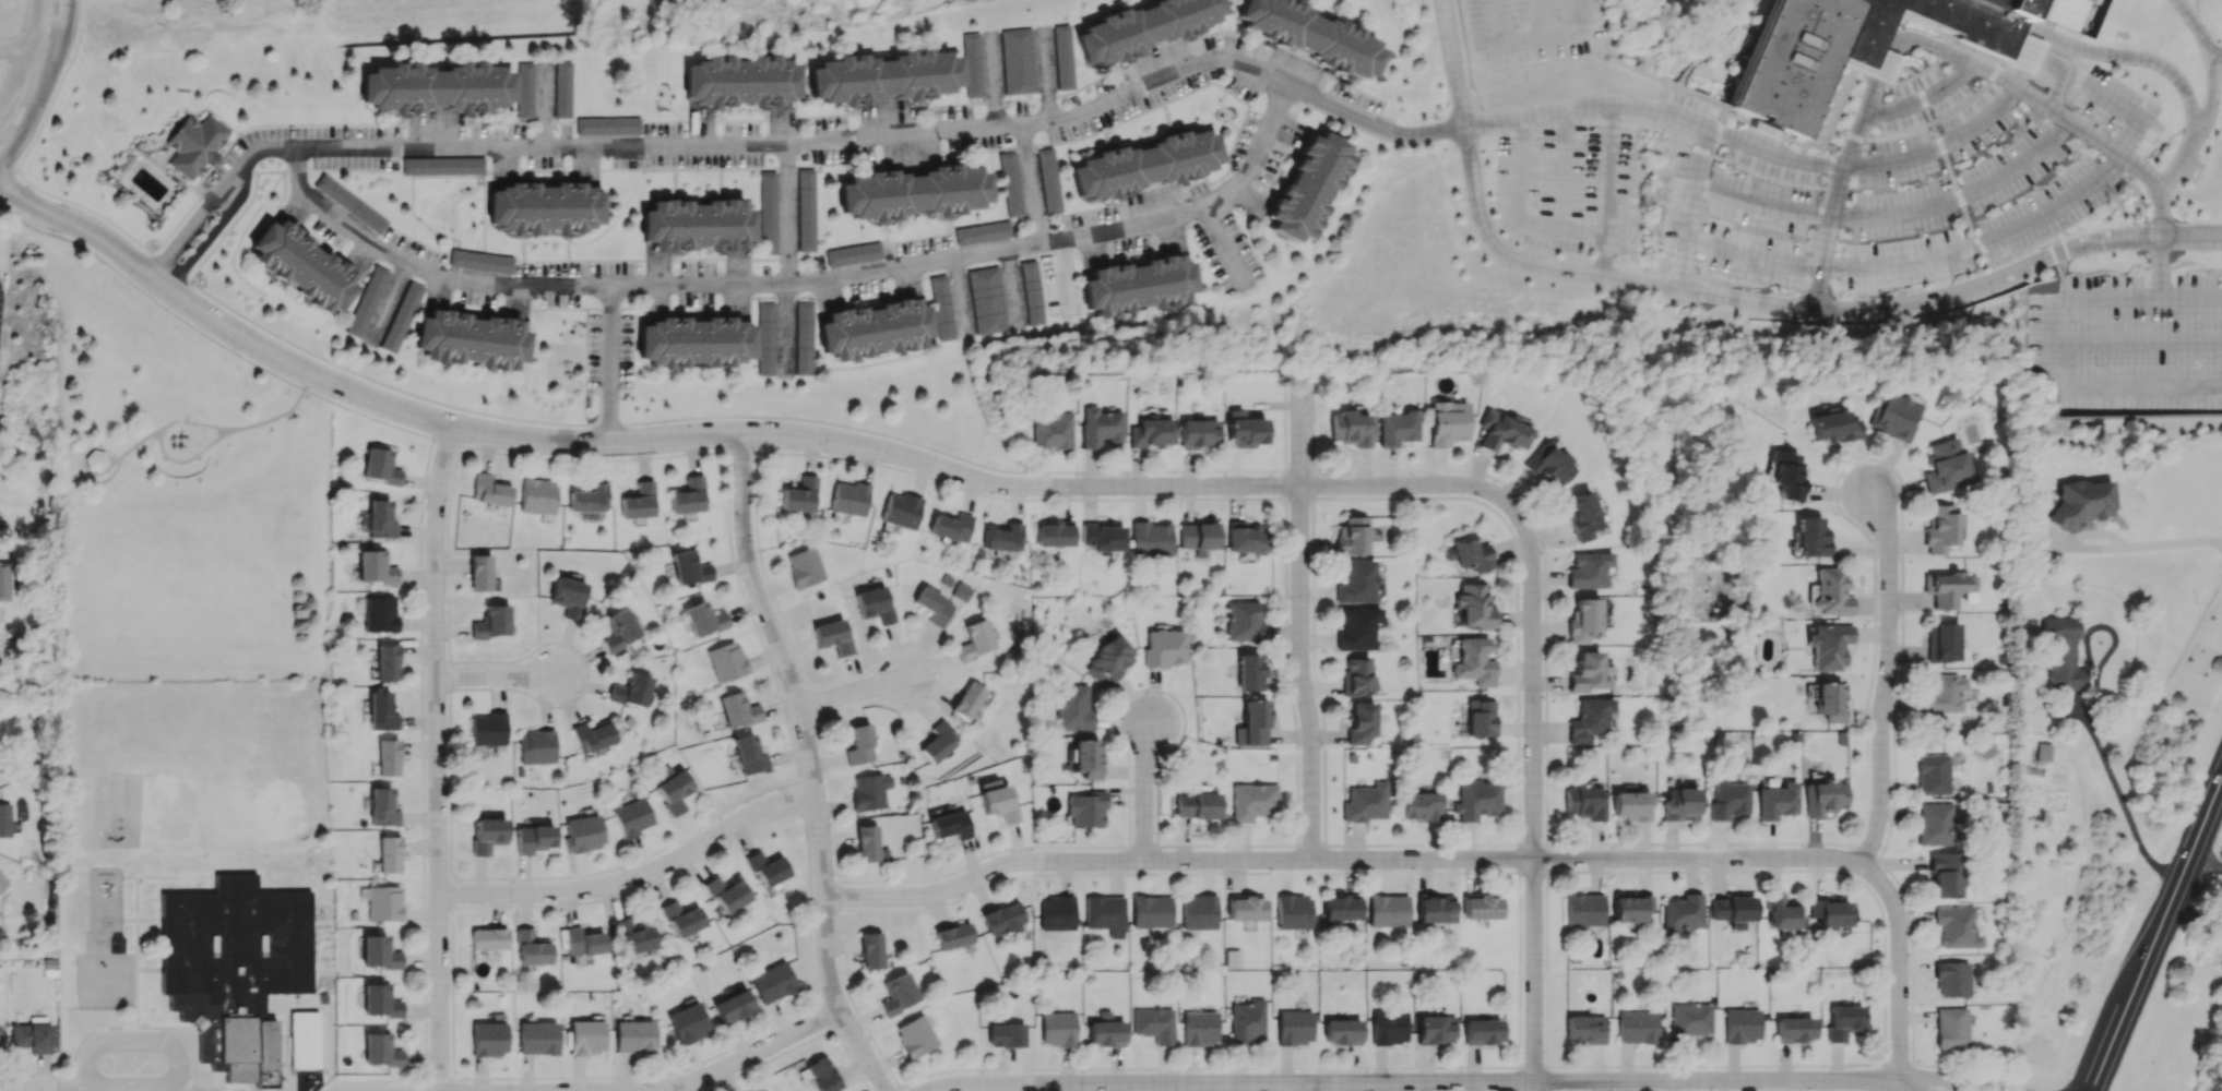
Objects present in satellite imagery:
road: (1747, 10)
helipad: (2060, 10)
road: (82, 11)
road: (2195, 11)
building: (2053, 13)
road: (2043, 15)
road: (1536, 19)
road: (2191, 22)
building: (1926, 25)
building: (1142, 28)
parking lot: (1530, 31)
road: (1576, 32)
building: (1311, 36)
road: (1719, 40)
road: (1748, 40)
road: (1892, 40)
road: (2033, 40)
road: (1496, 43)
building: (2019, 50)
road: (2212, 50)
road: (13, 56)
road: (2061, 56)
road: (27, 57)
building: (1058, 58)
road: (2140, 58)
road: (1617, 62)
building: (1789, 63)
building: (971, 64)
building: (1014, 65)
road: (1892, 65)
building: (1879, 67)
road: (2021, 69)
road: (1924, 72)
road: (2058, 72)
road: (1991, 73)
road: (1686, 74)
building: (882, 77)
road: (2071, 80)
building: (739, 82)
road: (1902, 83)
road: (43, 86)
building: (433, 86)
road: (1981, 88)
building: (559, 91)
building: (521, 92)
road: (2061, 93)
road: (2210, 94)
road: (51, 99)
road: (1922, 100)
road: (1921, 101)
road: (2110, 101)
parking lot: (2113, 104)
road: (1715, 106)
parking lot: (1936, 106)
road: (1584, 107)
parking lot: (1687, 108)
road: (1837, 108)
road: (1735, 119)
building: (606, 129)
road: (1661, 130)
building: (1759, 131)
road: (2119, 131)
road: (2090, 136)
road: (1759, 137)
road: (1879, 140)
road: (2131, 140)
road: (1853, 141)
building: (189, 144)
road: (801, 146)
road: (1801, 146)
road: (1938, 146)
road: (1771, 155)
road: (1830, 163)
building: (1144, 165)
parking lot: (1770, 165)
building: (441, 166)
road: (2175, 167)
road: (1561, 169)
road: (260, 170)
road: (1606, 170)
road: (7, 177)
road: (1764, 177)
building: (1046, 182)
road: (1031, 184)
building: (1008, 185)
building: (1308, 187)
road: (1514, 187)
parking lot: (1564, 188)
building: (913, 192)
road: (1701, 199)
road: (1960, 199)
parking lot: (1963, 201)
building: (348, 203)
road: (1759, 204)
building: (545, 207)
road: (1687, 207)
building: (804, 211)
building: (765, 214)
road: (450, 215)
road: (2159, 215)
parking lot: (1739, 224)
building: (696, 225)
road: (247, 226)
road: (1816, 227)
road: (1969, 229)
building: (982, 232)
road: (1580, 232)
road: (1826, 237)
road: (577, 243)
road: (1983, 245)
building: (853, 253)
road: (1603, 255)
road: (1751, 256)
building: (479, 261)
road: (786, 263)
building: (296, 266)
road: (2061, 266)
road: (2160, 267)
road: (163, 271)
road: (803, 285)
building: (1139, 285)
building: (1032, 292)
road: (151, 296)
road: (1733, 297)
road: (2074, 299)
road: (2191, 299)
parking lot: (1, 300)
building: (986, 300)
road: (388, 303)
building: (366, 304)
building: (941, 308)
building: (400, 319)
building: (874, 329)
building: (765, 338)
building: (471, 339)
building: (803, 339)
building: (694, 341)
parking lot: (2132, 344)
road: (2147, 344)
parking lot: (608, 349)
road: (614, 369)
road: (2130, 387)
road: (366, 415)
building: (1894, 415)
building: (1447, 422)
road: (173, 423)
building: (1098, 427)
building: (1833, 427)
building: (1397, 428)
building: (1351, 429)
building: (1244, 430)
building: (1050, 431)
building: (1150, 432)
building: (1501, 432)
building: (1197, 433)
road: (447, 440)
road: (744, 441)
road: (917, 443)
road: (741, 452)
road: (188, 459)
building: (96, 460)
building: (378, 465)
building: (1548, 465)
building: (1944, 466)
building: (1786, 475)
building: (393, 477)
building: (491, 489)
park: (177, 495)
building: (798, 495)
building: (538, 496)
building: (689, 496)
road: (1307, 497)
building: (589, 499)
building: (848, 499)
building: (639, 501)
building: (2082, 502)
building: (900, 509)
building: (1580, 515)
building: (381, 518)
building: (950, 527)
building: (1940, 528)
building: (1053, 533)
building: (1352, 536)
building: (1198, 537)
building: (1809, 537)
building: (1002, 538)
building: (1102, 538)
building: (1247, 538)
building: (1150, 539)
road: (2154, 542)
road: (448, 552)
building: (1469, 553)
building: (377, 567)
building: (689, 567)
building: (804, 567)
building: (1588, 570)
building: (478, 572)
park: (185, 575)
building: (4, 580)
building: (1356, 583)
building: (1947, 588)
building: (961, 591)
road: (742, 596)
building: (567, 597)
building: (874, 604)
building: (932, 606)
building: (1475, 606)
building: (380, 615)
building: (703, 619)
building: (1582, 620)
building: (1243, 621)
building: (491, 622)
building: (1356, 627)
building: (618, 630)
road: (1303, 630)
building: (832, 635)
building: (976, 639)
building: (1941, 642)
building: (1828, 646)
building: (1164, 647)
building: (2061, 655)
building: (1109, 659)
building: (726, 661)
building: (1474, 662)
building: (389, 663)
building: (1249, 672)
building: (1588, 673)
road: (449, 675)
building: (1356, 676)
road: (500, 678)
road: (1886, 680)
building: (630, 691)
road: (855, 692)
building: (1941, 693)
building: (972, 700)
building: (1828, 700)
building: (1072, 708)
building: (737, 709)
building: (380, 710)
building: (1481, 719)
building: (1588, 719)
building: (1359, 722)
building: (1252, 723)
building: (487, 731)
building: (592, 736)
building: (938, 742)
building: (859, 745)
building: (536, 746)
building: (2043, 752)
building: (749, 755)
road: (421, 756)
building: (388, 757)
building: (1086, 757)
road: (440, 758)
park: (178, 767)
road: (815, 768)
park: (260, 769)
road: (2107, 770)
building: (1932, 775)
road: (450, 783)
building: (670, 788)
road: (1144, 788)
building: (870, 791)
building: (1823, 796)
building: (1476, 800)
building: (1583, 800)
building: (1727, 800)
building: (997, 801)
building: (1777, 801)
building: (1252, 802)
building: (1365, 803)
building: (1679, 804)
building: (1196, 805)
building: (1631, 805)
building: (1419, 806)
building: (382, 807)
building: (1086, 808)
road: (1534, 808)
building: (631, 817)
building: (4, 819)
building: (1934, 824)
building: (950, 825)
building: (582, 834)
building: (486, 835)
building: (533, 838)
building: (869, 844)
building: (389, 853)
road: (1343, 863)
building: (765, 867)
road: (1519, 872)
road: (1174, 873)
building: (1944, 875)
road: (639, 877)
building: (2, 883)
road: (451, 892)
building: (726, 894)
building: (381, 902)
building: (1481, 907)
building: (1341, 908)
building: (1630, 908)
building: (1246, 909)
building: (1435, 909)
building: (1583, 909)
building: (1388, 910)
building: (1732, 910)
building: (1151, 912)
building: (1199, 912)
building: (1293, 912)
building: (1780, 912)
building: (1829, 912)
building: (1056, 913)
building: (1680, 913)
building: (1105, 914)
building: (1001, 918)
building: (681, 919)
building: (1954, 927)
road: (2155, 932)
building: (633, 936)
building: (953, 936)
building: (488, 938)
building: (583, 942)
building: (531, 948)
building: (871, 949)
building: (379, 952)
building: (1233, 958)
building: (231, 963)
building: (49, 968)
road: (1546, 968)
road: (1899, 968)
road: (1519, 969)
building: (1951, 979)
building: (772, 982)
road: (451, 992)
building: (896, 994)
building: (319, 998)
building: (379, 1000)
building: (732, 1007)
road: (825, 1014)
road: (865, 1018)
building: (1247, 1021)
building: (1688, 1021)
building: (1843, 1021)
building: (687, 1023)
building: (1153, 1023)
road: (840, 1026)
building: (1742, 1026)
building: (1294, 1027)
building: (1388, 1027)
building: (1637, 1027)
building: (1057, 1028)
building: (1199, 1028)
building: (1950, 1028)
building: (1584, 1029)
building: (1794, 1029)
building: (1435, 1030)
building: (1341, 1031)
building: (1482, 1031)
building: (1104, 1033)
building: (915, 1034)
building: (1006, 1034)
building: (585, 1036)
building: (633, 1036)
building: (32, 1038)
building: (537, 1038)
building: (488, 1039)
road: (130, 1041)
building: (300, 1042)
building: (380, 1051)
road: (746, 1055)
road: (851, 1058)
road: (767, 1059)
road: (1898, 1063)
road: (1533, 1065)
road: (1715, 1065)
road: (1941, 1066)
road: (1208, 1067)
road: (1886, 1071)
road: (643, 1075)
building: (821, 1075)
road: (60, 1077)
road: (438, 1078)
road: (1236, 1079)
road: (373, 1080)
road: (1715, 1080)
road: (1956, 1080)
road: (236, 1082)
road: (60, 1084)
road: (187, 1084)
road: (452, 1084)
road: (1535, 1086)
road: (1886, 1086)
road: (1908, 1086)
road: (178, 1087)
road: (75, 1088)
road: (92, 1088)
parking lot: (359, 1088)
road: (900, 1088)
road: (131, 1089)
road: (29, 1090)
building: (762, 1090)

